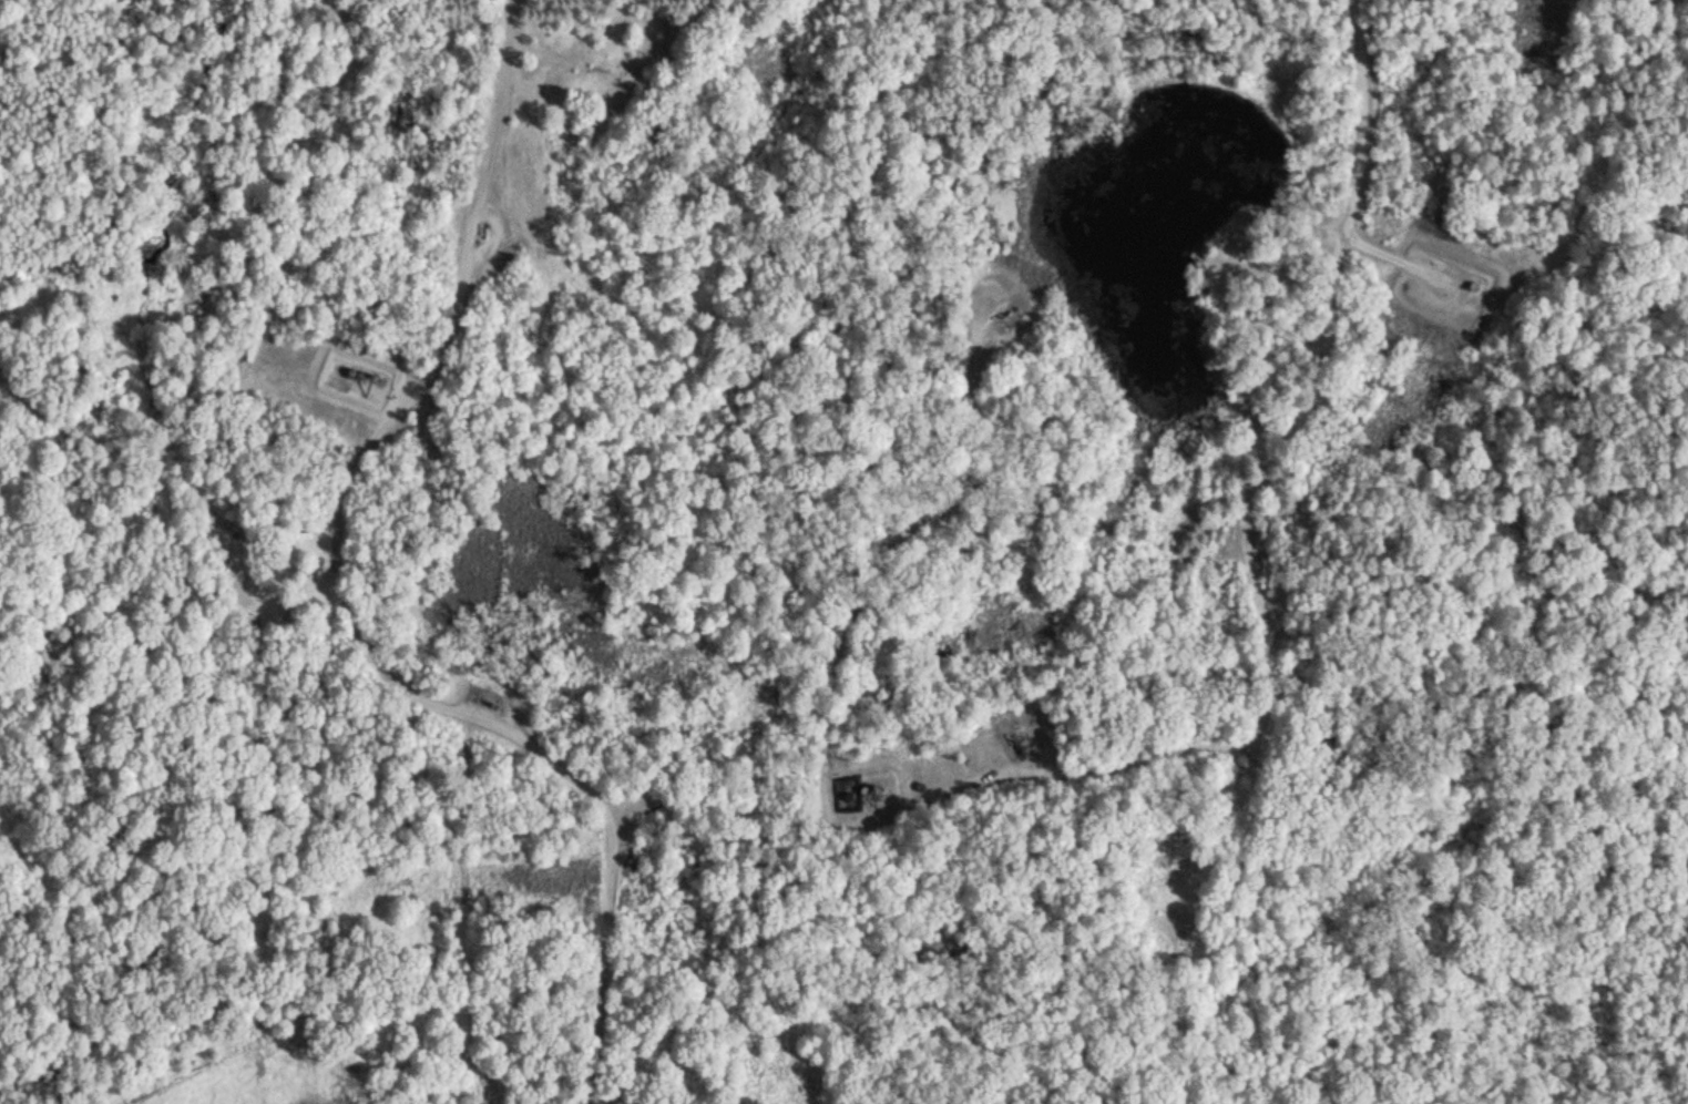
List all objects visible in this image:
petroleum well: (487, 234)
petroleum well: (1006, 308)
road: (1257, 548)
road: (880, 568)
petroleum well: (497, 703)
road: (522, 734)
road: (613, 808)

